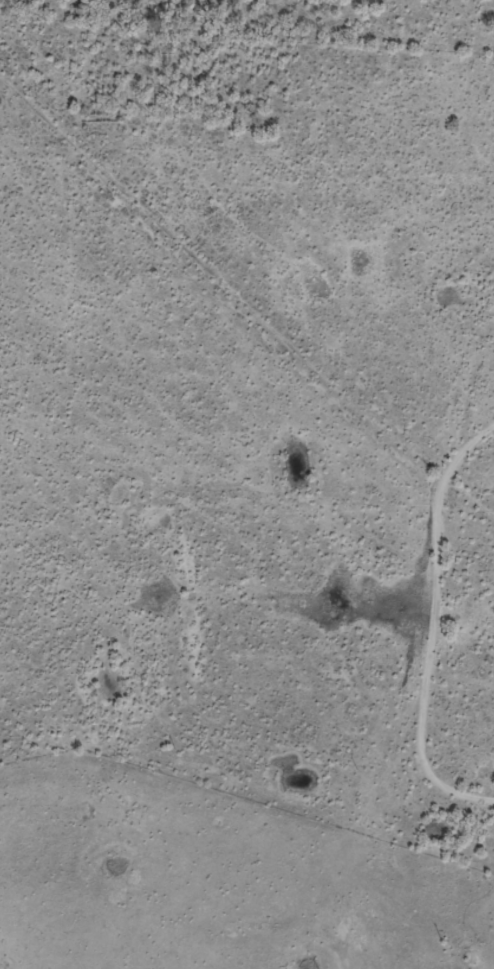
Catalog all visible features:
road: (410, 729)

